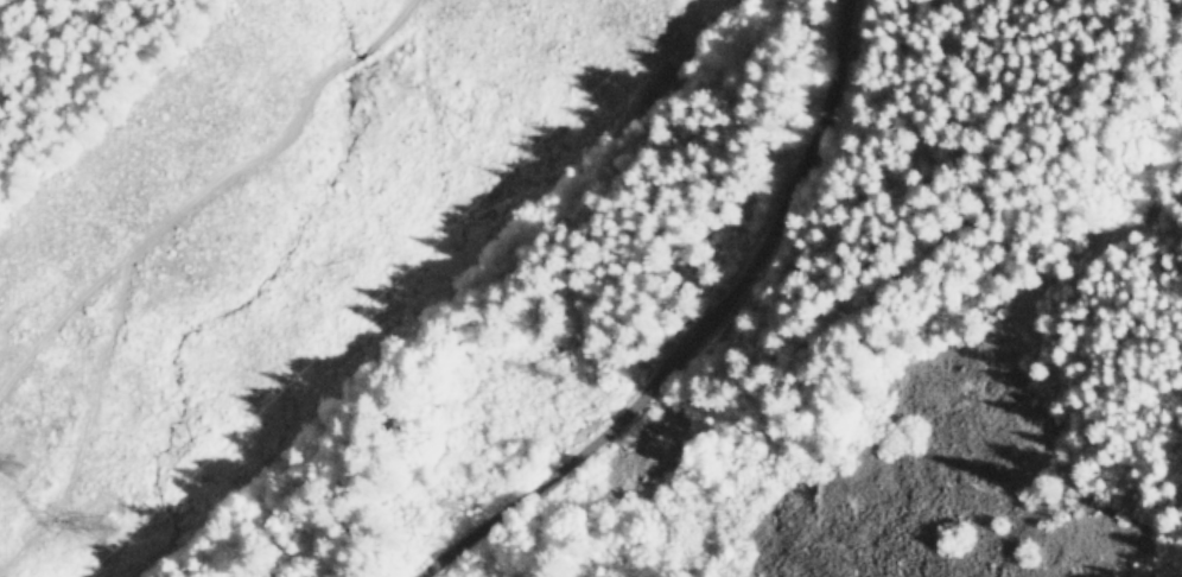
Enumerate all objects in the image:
road: (694, 334)
power tower: (2, 338)
power tower: (11, 471)
power tower: (101, 525)

